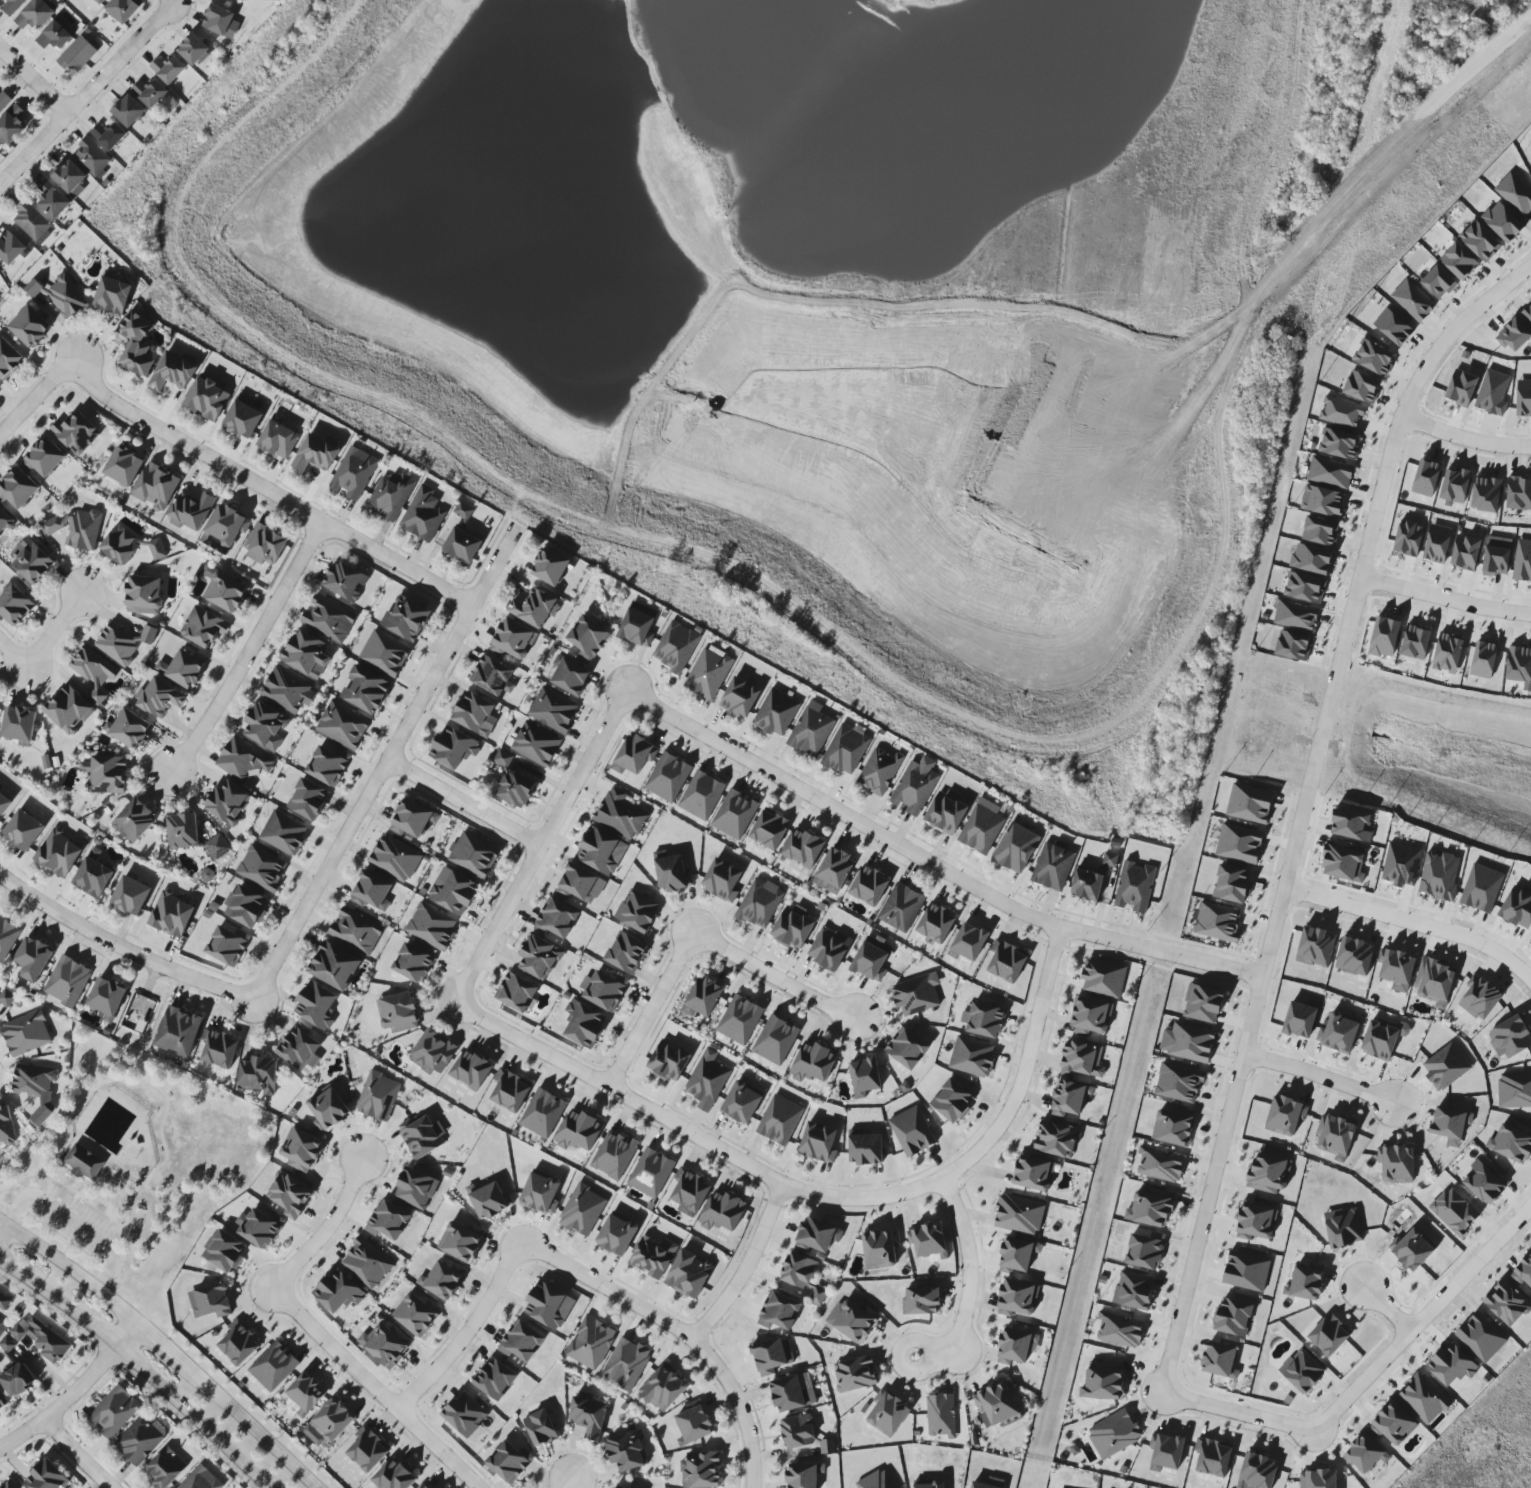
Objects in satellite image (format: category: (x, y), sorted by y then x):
building: (100, 1)
road: (171, 1)
building: (12, 6)
building: (123, 9)
building: (34, 15)
building: (217, 20)
building: (54, 36)
building: (193, 50)
building: (76, 56)
building: (168, 69)
road: (34, 81)
building: (150, 93)
road: (87, 95)
building: (4, 101)
building: (128, 111)
building: (11, 125)
building: (108, 135)
road: (1386, 152)
building: (92, 157)
building: (69, 178)
building: (1515, 194)
building: (52, 200)
building: (1502, 222)
building: (32, 223)
building: (1479, 241)
building: (10, 248)
building: (1458, 262)
building: (1438, 283)
building: (61, 295)
building: (112, 296)
building: (1412, 300)
building: (1527, 314)
road: (1464, 323)
building: (30, 326)
building: (1393, 327)
building: (1513, 335)
building: (137, 344)
building: (1374, 358)
building: (8, 359)
building: (172, 372)
building: (1361, 387)
building: (1461, 388)
building: (1492, 393)
building: (1523, 398)
building: (206, 399)
road: (34, 400)
building: (1341, 412)
building: (242, 420)
road: (1415, 423)
building: (76, 433)
building: (278, 440)
road: (1479, 442)
building: (1338, 444)
building: (315, 454)
building: (44, 457)
building: (123, 467)
building: (1330, 472)
building: (353, 474)
building: (1426, 478)
building: (1455, 485)
building: (156, 487)
building: (18, 488)
road: (267, 490)
building: (1519, 493)
building: (1486, 494)
building: (390, 497)
building: (1321, 501)
building: (191, 511)
building: (463, 511)
building: (423, 515)
building: (4, 520)
building: (225, 527)
building: (77, 529)
building: (1320, 531)
building: (1408, 539)
building: (1437, 544)
building: (264, 545)
building: (462, 545)
building: (120, 546)
building: (157, 549)
building: (1465, 553)
building: (1496, 556)
building: (1311, 559)
building: (31, 561)
building: (1522, 561)
building: (550, 567)
building: (344, 581)
building: (1304, 588)
building: (224, 591)
building: (144, 595)
road: (1443, 600)
building: (15, 605)
building: (534, 608)
building: (1295, 616)
building: (328, 619)
building: (406, 619)
building: (203, 627)
building: (636, 628)
building: (1384, 637)
building: (587, 638)
building: (513, 639)
building: (1415, 642)
road: (42, 643)
building: (123, 643)
building: (1292, 646)
building: (675, 647)
road: (249, 650)
building: (385, 653)
building: (306, 654)
building: (1447, 654)
building: (1483, 660)
building: (1518, 664)
building: (182, 669)
building: (93, 672)
building: (708, 673)
building: (492, 676)
building: (570, 677)
building: (287, 690)
building: (365, 690)
building: (159, 697)
building: (739, 698)
building: (68, 709)
building: (553, 711)
building: (776, 713)
building: (474, 714)
building: (18, 725)
building: (343, 725)
building: (265, 727)
building: (128, 729)
building: (811, 730)
building: (536, 744)
building: (453, 748)
building: (845, 750)
building: (633, 755)
building: (243, 760)
road: (384, 763)
building: (328, 765)
building: (879, 771)
building: (106, 774)
building: (667, 777)
building: (914, 788)
building: (701, 796)
building: (308, 800)
road: (463, 802)
building: (3, 803)
building: (227, 803)
building: (1249, 804)
building: (945, 812)
building: (622, 814)
building: (734, 815)
building: (412, 819)
building: (134, 821)
building: (1351, 824)
building: (982, 827)
building: (769, 829)
building: (23, 830)
building: (182, 831)
building: (283, 833)
building: (1239, 843)
road: (538, 848)
building: (803, 848)
building: (1016, 848)
building: (601, 851)
building: (57, 853)
building: (474, 855)
building: (395, 858)
building: (1110, 860)
building: (1342, 863)
road: (930, 864)
building: (1401, 865)
building: (1052, 867)
building: (261, 868)
building: (833, 871)
building: (671, 873)
building: (93, 875)
building: (1438, 875)
building: (722, 880)
building: (580, 884)
building: (1087, 885)
building: (1231, 885)
building: (869, 886)
building: (1134, 887)
building: (1481, 888)
building: (371, 891)
building: (454, 891)
road: (1284, 892)
building: (130, 896)
building: (759, 903)
building: (245, 907)
building: (1517, 907)
building: (901, 908)
building: (637, 911)
building: (171, 915)
building: (555, 919)
building: (1217, 922)
building: (936, 923)
road: (1414, 924)
building: (431, 926)
building: (792, 929)
building: (355, 931)
road: (695, 937)
building: (7, 938)
building: (968, 943)
building: (227, 946)
road: (122, 947)
building: (1315, 947)
building: (828, 949)
building: (625, 953)
building: (539, 957)
building: (1354, 957)
building: (32, 959)
building: (870, 961)
building: (1006, 961)
building: (412, 963)
building: (334, 966)
building: (1396, 969)
building: (1103, 978)
building: (66, 981)
building: (1434, 982)
building: (603, 990)
building: (516, 993)
building: (916, 994)
building: (6, 998)
building: (106, 998)
building: (703, 998)
building: (1479, 998)
building: (1202, 1004)
building: (316, 1006)
building: (140, 1011)
building: (398, 1013)
building: (1090, 1016)
building: (739, 1020)
building: (984, 1020)
building: (1299, 1020)
building: (583, 1026)
building: (179, 1032)
building: (26, 1034)
building: (1338, 1034)
building: (1509, 1038)
building: (1382, 1039)
building: (775, 1040)
building: (1190, 1043)
building: (219, 1048)
building: (299, 1048)
building: (906, 1049)
building: (433, 1053)
building: (972, 1057)
building: (1081, 1060)
building: (668, 1061)
building: (813, 1063)
building: (1445, 1067)
building: (470, 1070)
building: (258, 1074)
building: (864, 1077)
road: (1320, 1077)
building: (707, 1080)
building: (1178, 1083)
road: (149, 1084)
building: (35, 1088)
building: (509, 1090)
building: (1514, 1090)
building: (377, 1096)
building: (1068, 1098)
building: (952, 1101)
building: (742, 1102)
building: (327, 1108)
building: (542, 1113)
building: (1285, 1116)
building: (779, 1120)
building: (1450, 1125)
building: (6, 1126)
building: (1172, 1128)
building: (579, 1131)
building: (912, 1131)
building: (422, 1136)
building: (1334, 1136)
building: (1056, 1139)
building: (818, 1143)
building: (301, 1150)
building: (865, 1150)
building: (613, 1155)
building: (84, 1162)
building: (1396, 1163)
building: (1160, 1164)
park: (133, 1172)
building: (650, 1173)
building: (1033, 1173)
building: (1269, 1173)
building: (1483, 1183)
building: (415, 1188)
road: (40, 1189)
building: (689, 1192)
building: (540, 1193)
road: (135, 1195)
building: (290, 1195)
road: (818, 1197)
building: (487, 1200)
road: (59, 1201)
road: (86, 1207)
building: (1150, 1208)
building: (582, 1211)
building: (1454, 1211)
building: (722, 1212)
building: (1019, 1215)
building: (387, 1221)
building: (1255, 1222)
road: (74, 1223)
building: (259, 1228)
building: (1343, 1228)
road: (2, 1232)
building: (616, 1234)
building: (817, 1235)
building: (928, 1241)
road: (118, 1242)
building: (460, 1242)
road: (1497, 1243)
road: (65, 1248)
building: (880, 1248)
building: (1411, 1250)
building: (1144, 1251)
building: (223, 1252)
building: (1017, 1255)
building: (652, 1256)
building: (366, 1263)
road: (745, 1267)
road: (70, 1270)
building: (798, 1270)
building: (1523, 1271)
building: (1246, 1272)
building: (688, 1275)
road: (586, 1279)
building: (441, 1281)
road: (967, 1284)
building: (1305, 1284)
building: (1133, 1290)
building: (337, 1292)
building: (819, 1293)
building: (1017, 1298)
building: (4, 1301)
building: (210, 1301)
building: (921, 1301)
building: (1506, 1304)
building: (548, 1306)
road: (1387, 1310)
building: (779, 1311)
building: (414, 1314)
building: (1233, 1318)
building: (853, 1322)
building: (1, 1326)
building: (1119, 1331)
road: (314, 1333)
building: (1329, 1335)
building: (1481, 1337)
building: (41, 1338)
building: (520, 1341)
building: (238, 1343)
building: (590, 1343)
road: (160, 1344)
building: (7, 1345)
building: (384, 1345)
building: (1015, 1346)
road: (1387, 1356)
building: (771, 1357)
building: (1219, 1360)
building: (625, 1363)
building: (1451, 1365)
building: (273, 1366)
road: (142, 1367)
building: (1302, 1371)
building: (855, 1374)
building: (17, 1379)
building: (494, 1379)
building: (1103, 1383)
building: (662, 1389)
road: (75, 1392)
building: (792, 1392)
building: (305, 1393)
building: (1424, 1398)
building: (2, 1401)
building: (995, 1404)
building: (114, 1412)
building: (465, 1414)
building: (887, 1414)
road: (1235, 1414)
building: (940, 1416)
building: (588, 1417)
building: (329, 1423)
building: (1393, 1424)
road: (251, 1426)
building: (692, 1426)
building: (540, 1428)
building: (798, 1431)
building: (1114, 1434)
building: (139, 1441)
building: (367, 1449)
building: (626, 1451)
building: (1165, 1452)
road: (78, 1453)
building: (1365, 1454)
building: (1212, 1457)
building: (509, 1461)
building: (166, 1468)
building: (700, 1470)
building: (1257, 1472)
building: (803, 1474)
building: (45, 1476)
building: (393, 1476)
building: (201, 1479)
building: (1318, 1479)
building: (878, 1480)
road: (563, 1483)
building: (10, 1484)
building: (929, 1484)
building: (423, 1486)
building: (616, 1487)

